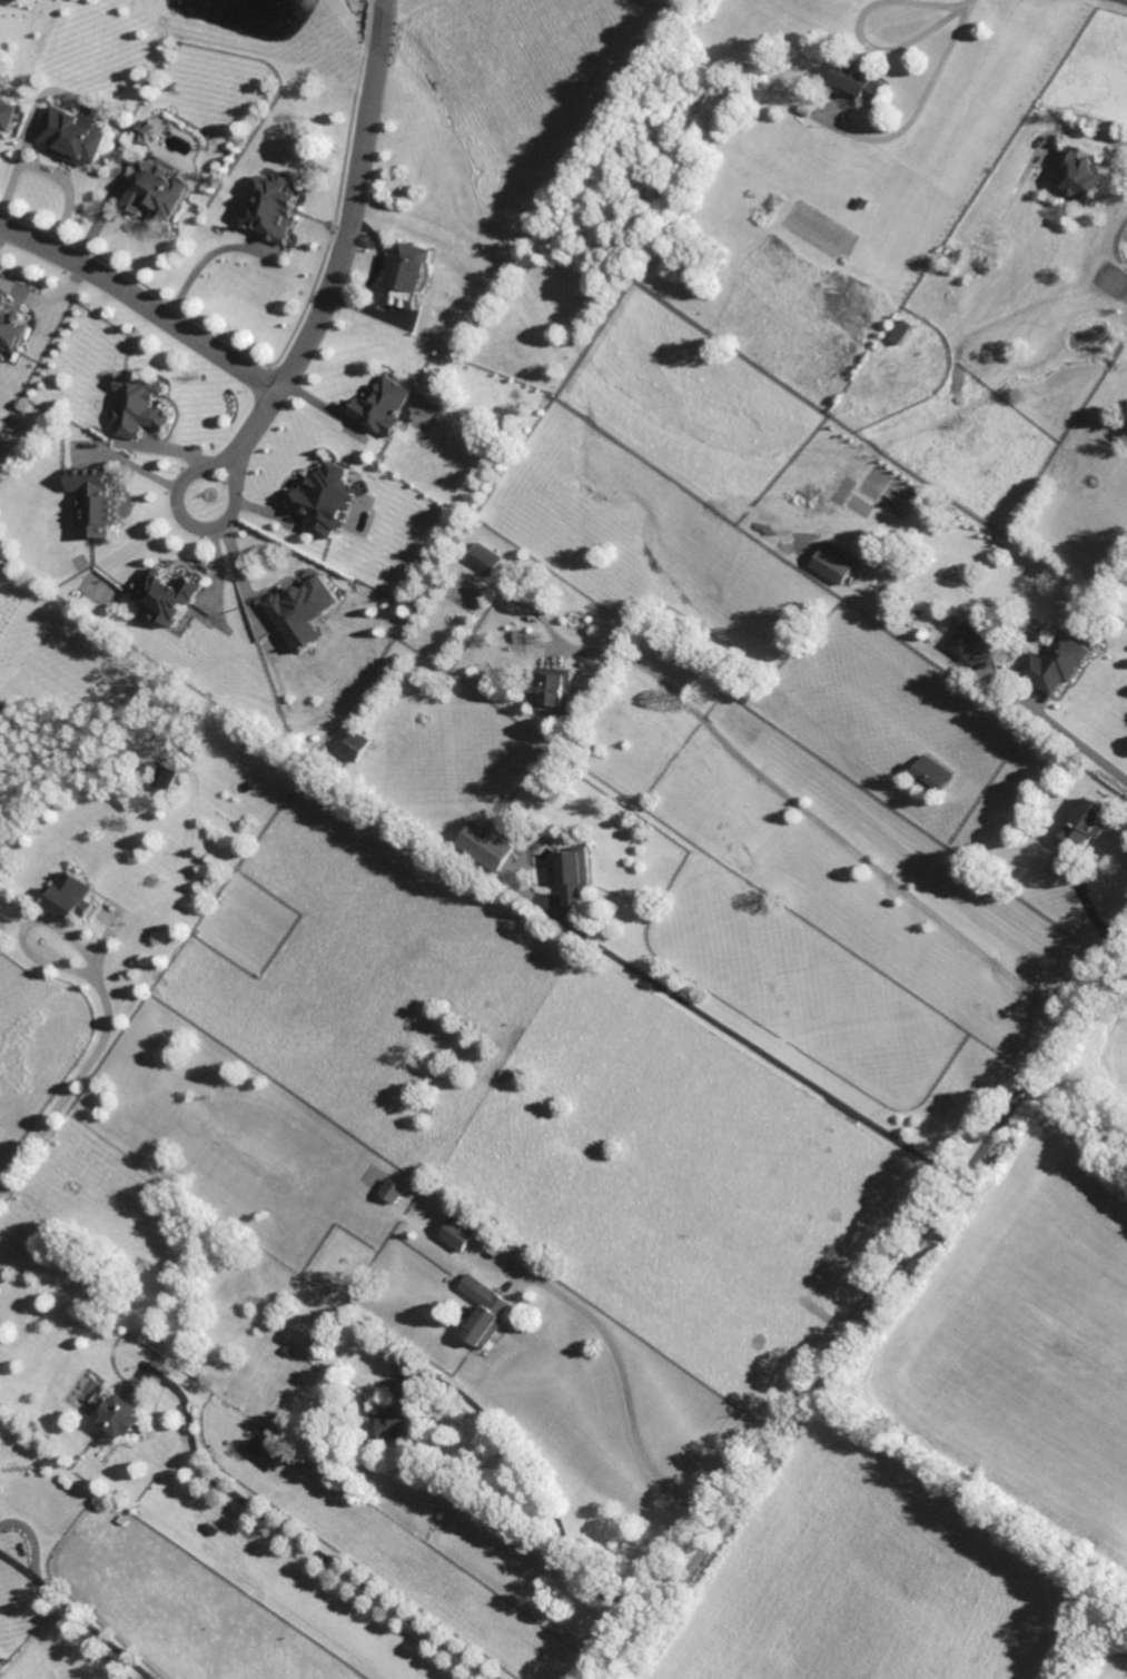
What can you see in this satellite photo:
road: (1126, 0)
road: (857, 30)
building: (857, 82)
road: (919, 96)
building: (7, 115)
building: (142, 131)
building: (76, 136)
road: (1100, 136)
road: (55, 171)
building: (1081, 177)
building: (159, 189)
building: (273, 208)
road: (0, 230)
road: (345, 240)
road: (201, 263)
building: (407, 275)
road: (43, 299)
road: (139, 305)
building: (11, 328)
building: (898, 332)
building: (139, 405)
building: (385, 405)
building: (326, 498)
building: (96, 500)
road: (186, 522)
building: (484, 559)
building: (833, 562)
road: (240, 576)
building: (168, 594)
building: (303, 610)
building: (965, 640)
building: (1056, 663)
building: (355, 744)
road: (1079, 745)
road: (85, 764)
building: (932, 772)
building: (168, 777)
building: (1084, 824)
road: (821, 828)
building: (487, 845)
building: (575, 878)
building: (70, 897)
road: (752, 1046)
road: (88, 1063)
building: (392, 1191)
building: (458, 1233)
road: (870, 1310)
building: (485, 1311)
road: (625, 1399)
building: (123, 1410)
building: (395, 1422)
building: (265, 1453)
road: (545, 1494)
road: (312, 1538)
road: (73, 1616)
building: (1, 1666)

